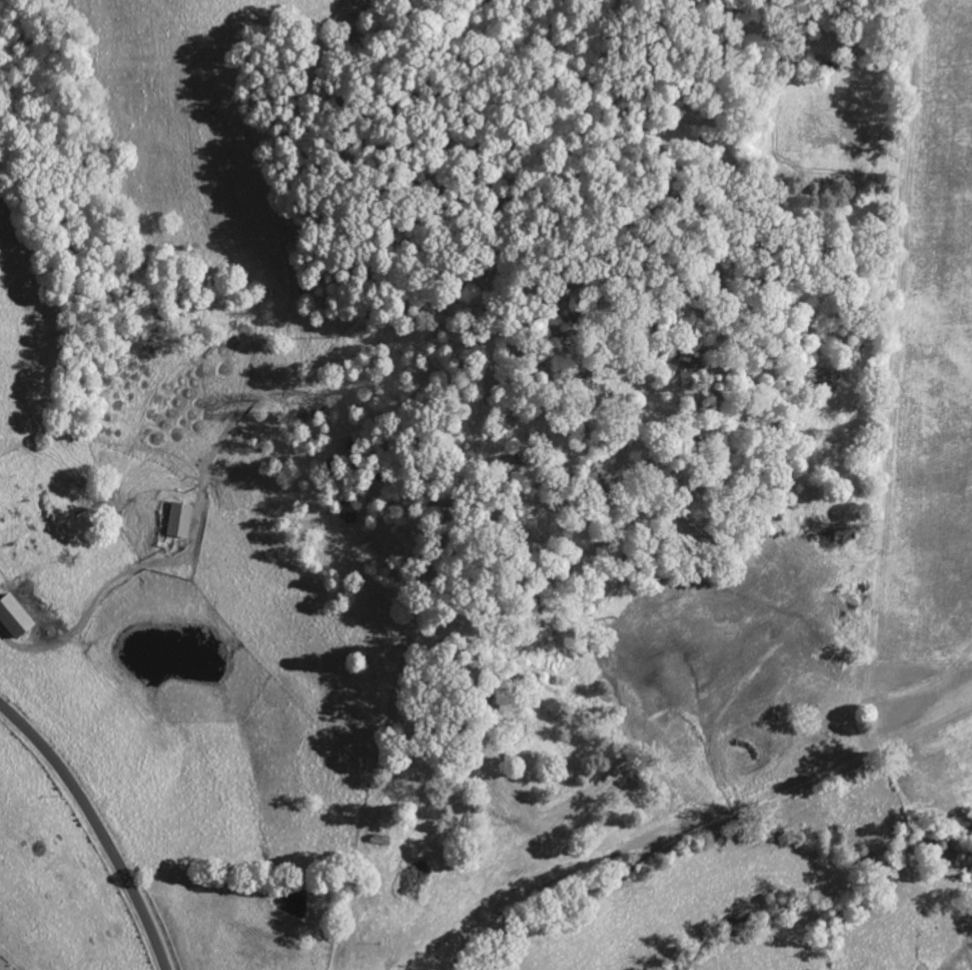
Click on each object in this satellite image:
building: (181, 520)
building: (16, 616)
road: (96, 828)

